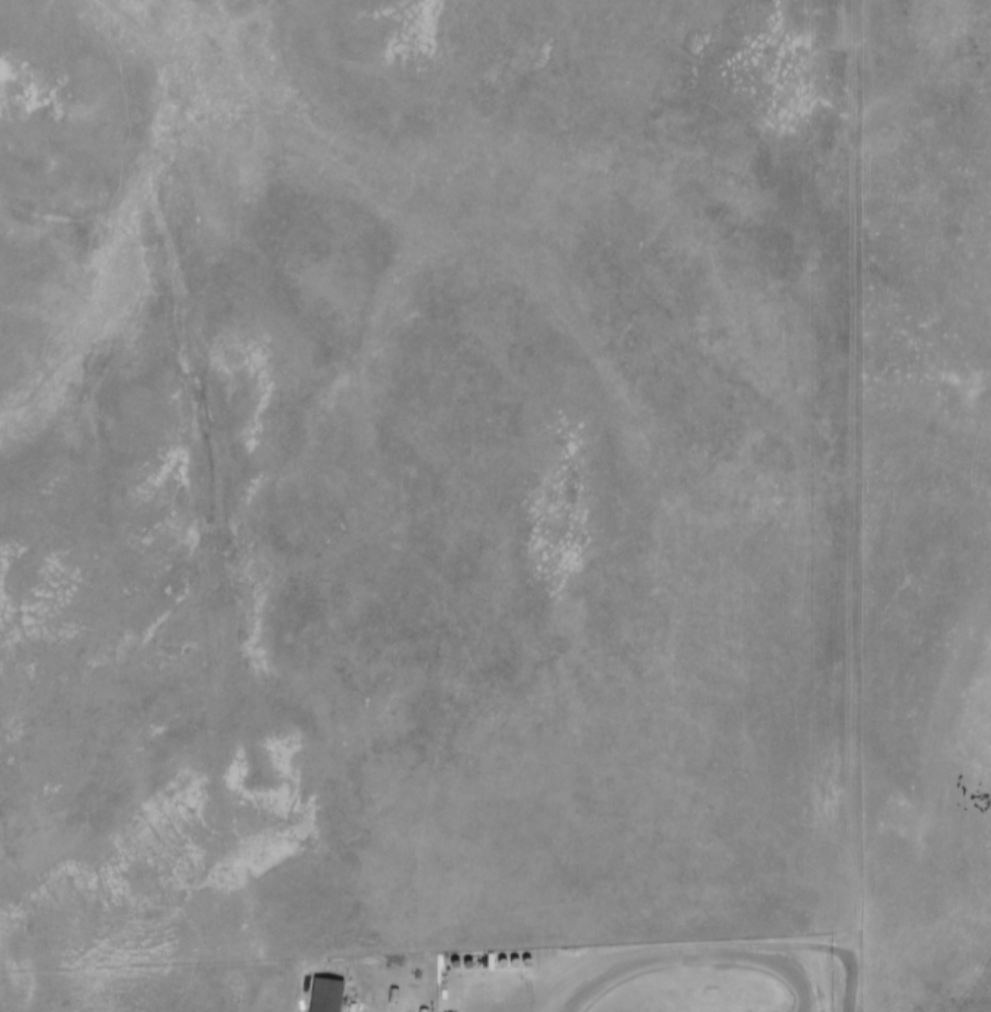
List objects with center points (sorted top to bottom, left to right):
road: (918, 179)
road: (850, 506)
raceway: (684, 952)
raceway: (726, 983)
building: (327, 990)
raceway: (652, 1006)

